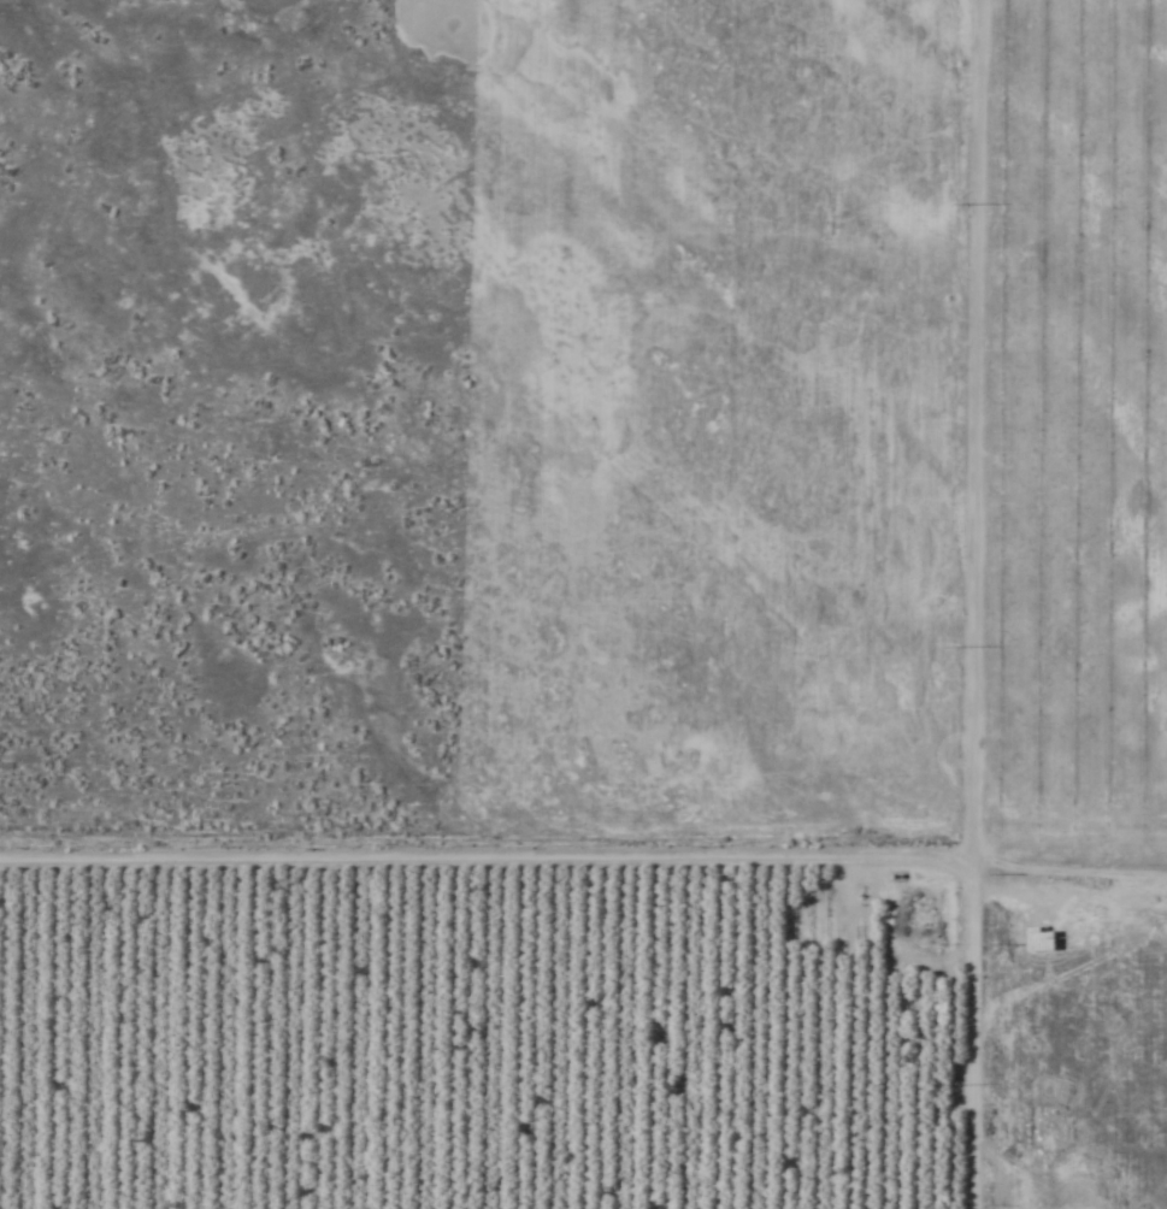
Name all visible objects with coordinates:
road: (979, 604)
road: (488, 854)

